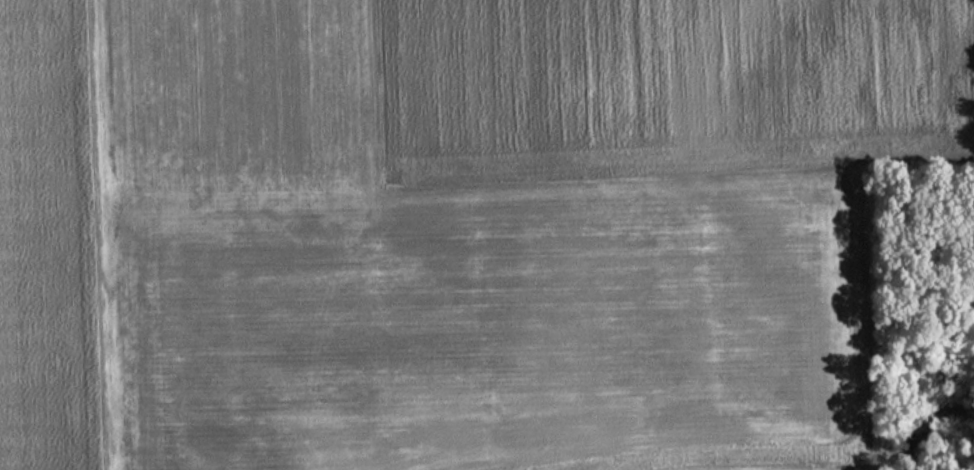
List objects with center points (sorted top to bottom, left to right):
crop: (506, 228)
crop: (48, 240)

